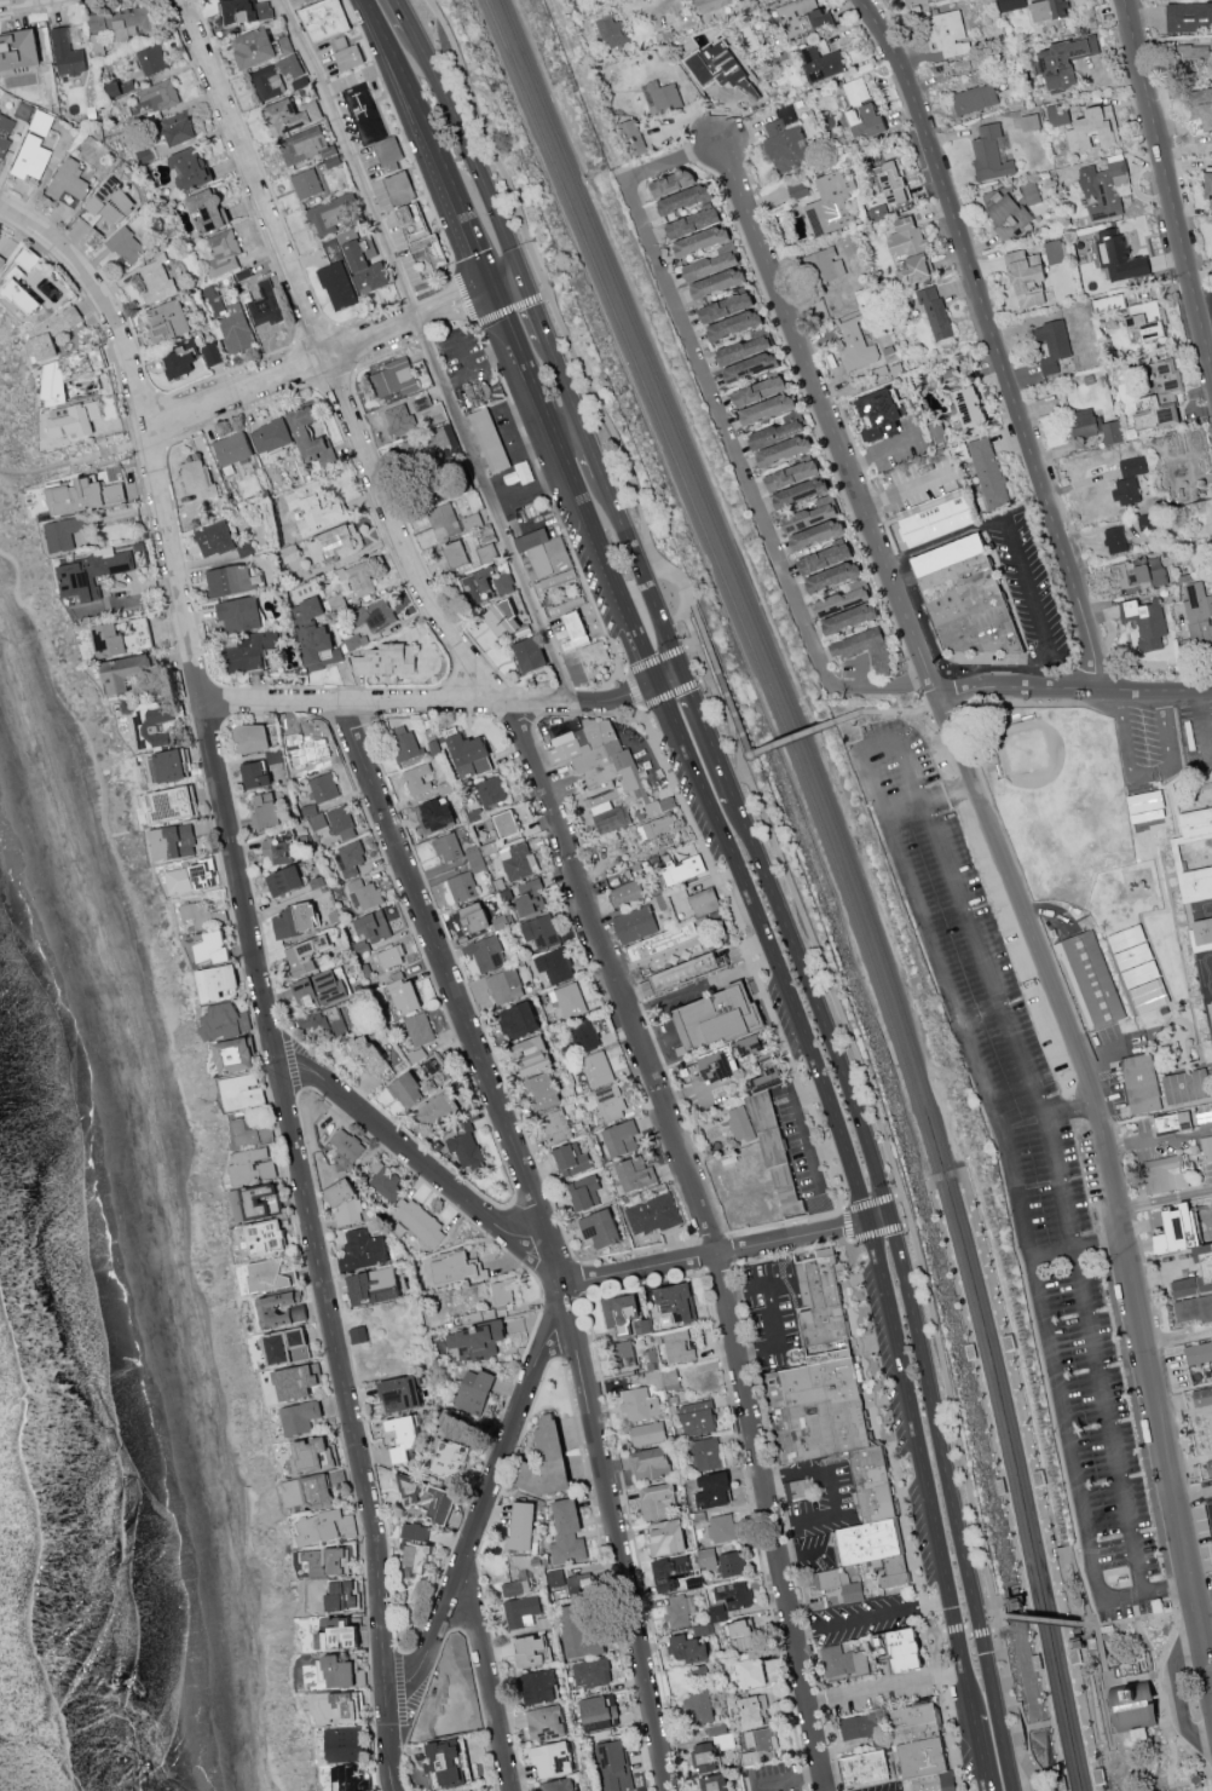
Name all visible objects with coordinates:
building: (305, 0)
road: (7, 1)
building: (916, 1)
building: (710, 5)
building: (1011, 5)
building: (1047, 10)
building: (246, 11)
road: (408, 13)
road: (397, 16)
building: (1189, 16)
building: (802, 17)
building: (324, 19)
building: (125, 21)
building: (611, 31)
building: (948, 34)
building: (259, 47)
building: (18, 50)
building: (68, 51)
building: (1195, 57)
building: (350, 58)
building: (1064, 62)
building: (818, 63)
building: (137, 69)
building: (293, 70)
building: (722, 70)
building: (267, 83)
building: (160, 98)
building: (663, 98)
building: (975, 99)
building: (1201, 105)
building: (861, 111)
building: (365, 113)
building: (290, 115)
building: (1057, 115)
building: (41, 122)
building: (1029, 122)
building: (178, 128)
building: (1093, 128)
road: (402, 133)
building: (5, 134)
building: (633, 138)
road: (434, 139)
building: (785, 142)
building: (302, 145)
road: (474, 146)
building: (388, 150)
building: (991, 152)
building: (31, 157)
road: (351, 157)
building: (189, 168)
building: (671, 183)
building: (891, 183)
building: (69, 184)
building: (306, 184)
road: (1167, 185)
building: (399, 188)
building: (1104, 188)
building: (1208, 188)
building: (797, 189)
building: (1031, 192)
building: (685, 198)
building: (111, 202)
building: (831, 202)
building: (1008, 209)
building: (208, 211)
building: (329, 213)
building: (693, 223)
building: (906, 237)
building: (421, 240)
building: (702, 241)
building: (849, 244)
building: (127, 246)
building: (1055, 252)
building: (223, 253)
building: (1118, 255)
building: (1, 258)
building: (363, 264)
building: (710, 264)
building: (825, 265)
building: (917, 267)
traffic signals: (525, 270)
road: (508, 277)
building: (1026, 278)
building: (157, 280)
building: (717, 283)
traffic signals: (492, 284)
building: (337, 286)
building: (25, 293)
road: (454, 300)
road: (538, 304)
building: (266, 305)
building: (726, 307)
building: (935, 311)
road: (504, 317)
road: (484, 319)
building: (1144, 321)
building: (167, 322)
building: (232, 323)
building: (734, 324)
building: (57, 333)
road: (995, 339)
building: (854, 345)
building: (1052, 345)
road: (428, 350)
building: (743, 350)
road: (462, 351)
building: (212, 353)
building: (180, 362)
road: (494, 362)
building: (750, 367)
road: (283, 375)
road: (456, 376)
road: (567, 376)
building: (394, 378)
building: (950, 378)
building: (58, 384)
road: (533, 388)
building: (758, 391)
building: (477, 395)
building: (1160, 397)
building: (966, 408)
building: (767, 409)
road: (812, 414)
building: (879, 414)
building: (399, 417)
road: (566, 419)
road: (830, 420)
building: (74, 421)
building: (1081, 426)
road: (727, 428)
building: (775, 432)
building: (1112, 432)
building: (271, 436)
building: (310, 437)
building: (492, 439)
building: (437, 443)
road: (595, 443)
road: (116, 445)
building: (232, 450)
building: (784, 450)
road: (884, 450)
building: (1133, 466)
building: (992, 473)
building: (792, 474)
building: (198, 480)
road: (529, 484)
building: (1126, 491)
building: (800, 493)
building: (85, 496)
road: (550, 497)
building: (313, 508)
building: (940, 514)
building: (809, 517)
building: (450, 522)
building: (64, 532)
building: (816, 534)
building: (214, 539)
building: (1115, 540)
road: (507, 542)
road: (1017, 542)
building: (334, 543)
building: (462, 552)
building: (487, 552)
road: (602, 552)
building: (549, 559)
building: (825, 559)
road: (645, 570)
building: (92, 572)
building: (1137, 574)
building: (833, 576)
building: (358, 578)
building: (232, 580)
building: (502, 582)
building: (479, 586)
building: (971, 597)
building: (843, 598)
building: (335, 603)
road: (691, 603)
building: (239, 615)
building: (1197, 615)
building: (375, 616)
building: (849, 618)
building: (504, 620)
building: (1145, 622)
building: (576, 629)
building: (313, 635)
building: (122, 638)
building: (356, 641)
building: (865, 649)
building: (250, 651)
building: (594, 653)
building: (529, 655)
building: (386, 660)
traffic signals: (683, 667)
building: (126, 672)
road: (669, 674)
traffic signals: (654, 681)
road: (634, 687)
road: (1074, 687)
road: (429, 702)
road: (905, 710)
road: (940, 719)
road: (1204, 725)
building: (152, 726)
road: (711, 731)
building: (250, 738)
road: (748, 742)
road: (891, 745)
building: (404, 747)
building: (469, 755)
building: (171, 766)
building: (600, 770)
road: (1147, 772)
building: (255, 774)
park: (1056, 774)
building: (419, 779)
building: (323, 788)
building: (491, 791)
road: (930, 801)
building: (172, 805)
building: (660, 806)
building: (1145, 806)
building: (265, 811)
building: (434, 816)
building: (318, 822)
building: (342, 823)
building: (1196, 823)
building: (506, 824)
building: (657, 827)
building: (172, 842)
building: (448, 847)
building: (276, 850)
building: (351, 859)
building: (475, 859)
building: (518, 862)
building: (692, 869)
road: (571, 870)
road: (791, 875)
railway: (838, 876)
railway: (854, 876)
building: (191, 877)
building: (285, 881)
building: (1195, 883)
building: (462, 886)
building: (365, 893)
building: (625, 893)
building: (530, 897)
building: (705, 902)
building: (197, 915)
building: (474, 917)
building: (296, 920)
building: (373, 926)
building: (639, 926)
building: (539, 933)
building: (665, 943)
building: (214, 946)
road: (767, 948)
building: (1130, 948)
building: (486, 952)
building: (305, 954)
road: (749, 955)
building: (391, 957)
building: (554, 966)
road: (259, 971)
building: (689, 973)
building: (1091, 979)
building: (218, 981)
road: (698, 984)
building: (504, 986)
building: (321, 987)
building: (1145, 987)
building: (403, 995)
building: (567, 1000)
road: (819, 1003)
building: (722, 1019)
building: (220, 1021)
building: (518, 1021)
building: (327, 1023)
building: (419, 1029)
building: (584, 1035)
road: (660, 1042)
building: (749, 1046)
building: (236, 1055)
building: (368, 1055)
building: (531, 1055)
building: (432, 1064)
building: (717, 1065)
building: (596, 1069)
building: (1141, 1083)
building: (1187, 1085)
park: (160, 1088)
building: (408, 1089)
building: (542, 1090)
building: (243, 1093)
building: (610, 1104)
road: (1073, 1110)
building: (1172, 1123)
building: (554, 1124)
building: (739, 1124)
building: (250, 1131)
building: (621, 1138)
road: (1159, 1139)
building: (346, 1144)
road: (802, 1148)
building: (778, 1151)
road: (1107, 1151)
parking lot: (1028, 1152)
road: (416, 1158)
building: (571, 1159)
building: (252, 1165)
building: (1167, 1173)
building: (635, 1174)
road: (942, 1177)
building: (382, 1180)
railway: (964, 1180)
building: (584, 1192)
railway: (930, 1193)
road: (1165, 1197)
building: (255, 1203)
building: (345, 1204)
traffic signals: (893, 1214)
building: (652, 1215)
road: (879, 1217)
traffic signals: (866, 1221)
building: (419, 1222)
road: (847, 1226)
road: (849, 1226)
building: (600, 1228)
road: (544, 1233)
building: (266, 1237)
building: (363, 1250)
building: (1165, 1250)
road: (1080, 1251)
road: (693, 1257)
building: (456, 1268)
building: (267, 1275)
building: (373, 1286)
building: (503, 1291)
building: (676, 1302)
building: (1194, 1308)
building: (282, 1309)
road: (772, 1313)
building: (623, 1314)
building: (358, 1335)
building: (475, 1341)
building: (287, 1347)
building: (677, 1347)
building: (1199, 1353)
building: (623, 1354)
building: (295, 1382)
building: (474, 1392)
building: (399, 1393)
building: (1202, 1396)
building: (639, 1405)
building: (300, 1417)
building: (697, 1418)
building: (835, 1418)
building: (647, 1432)
road: (1139, 1435)
building: (402, 1436)
building: (705, 1452)
building: (312, 1455)
building: (450, 1458)
building: (546, 1461)
building: (650, 1463)
road: (918, 1467)
building: (1210, 1467)
road: (1035, 1485)
building: (712, 1490)
road: (1002, 1491)
building: (307, 1492)
road: (831, 1492)
road: (954, 1492)
road: (1194, 1493)
building: (428, 1499)
building: (656, 1499)
road: (480, 1509)
building: (1210, 1513)
road: (906, 1515)
building: (324, 1526)
building: (521, 1526)
building: (722, 1527)
building: (415, 1532)
building: (567, 1533)
building: (666, 1537)
road: (1068, 1553)
road: (1200, 1553)
road: (806, 1555)
building: (415, 1557)
building: (706, 1557)
building: (328, 1561)
building: (731, 1565)
building: (670, 1572)
building: (571, 1582)
building: (839, 1584)
building: (516, 1585)
building: (342, 1595)
building: (733, 1595)
road: (1016, 1596)
road: (1012, 1599)
road: (998, 1601)
road: (1016, 1601)
road: (935, 1602)
building: (1017, 1605)
building: (680, 1609)
building: (521, 1611)
building: (717, 1613)
road: (1002, 1616)
road: (1136, 1618)
road: (860, 1619)
road: (1045, 1620)
road: (966, 1624)
road: (1091, 1626)
road: (1089, 1631)
building: (577, 1634)
building: (743, 1634)
road: (1079, 1636)
building: (337, 1637)
road: (1075, 1639)
road: (1078, 1641)
building: (1079, 1643)
road: (1207, 1643)
road: (1148, 1646)
building: (688, 1649)
building: (904, 1649)
road: (1102, 1649)
building: (530, 1651)
road: (1077, 1657)
building: (843, 1662)
road: (1100, 1670)
road: (490, 1671)
building: (339, 1672)
building: (590, 1672)
building: (750, 1672)
building: (699, 1674)
road: (1090, 1675)
road: (1155, 1675)
road: (883, 1686)
building: (538, 1687)
road: (1177, 1688)
road: (1014, 1704)
building: (347, 1705)
building: (1133, 1705)
building: (698, 1706)
building: (754, 1711)
building: (599, 1712)
building: (456, 1715)
building: (546, 1723)
building: (859, 1726)
road: (1171, 1732)
building: (344, 1744)
building: (920, 1747)
building: (712, 1749)
road: (975, 1752)
road: (1027, 1755)
building: (552, 1760)
building: (446, 1763)
building: (612, 1763)
building: (865, 1768)
road: (1211, 1776)
building: (345, 1778)
road: (787, 1779)
road: (1012, 1781)
building: (716, 1783)
building: (559, 1785)
building: (471, 1790)
road: (1014, 1790)

